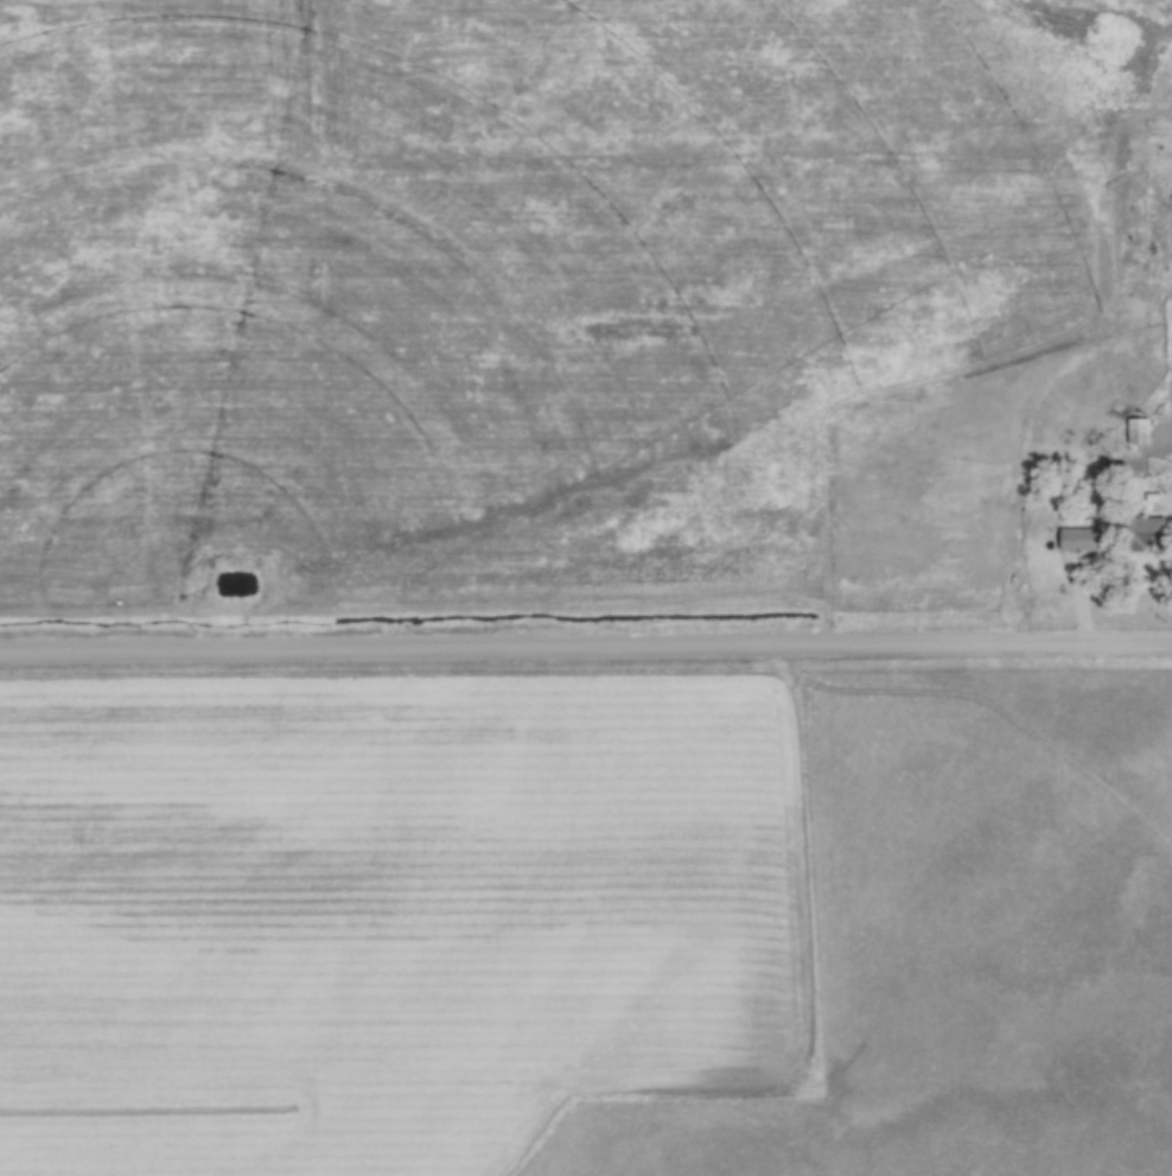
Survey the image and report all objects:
building: (1138, 430)
road: (1171, 471)
building: (1144, 530)
building: (1078, 538)
road: (586, 650)

